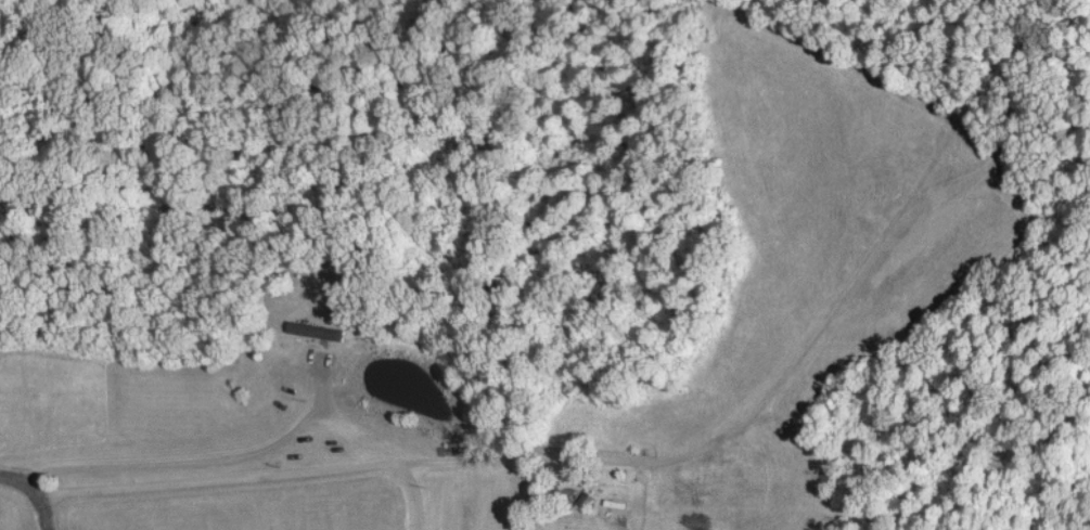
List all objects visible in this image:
building: (311, 328)
road: (35, 491)

